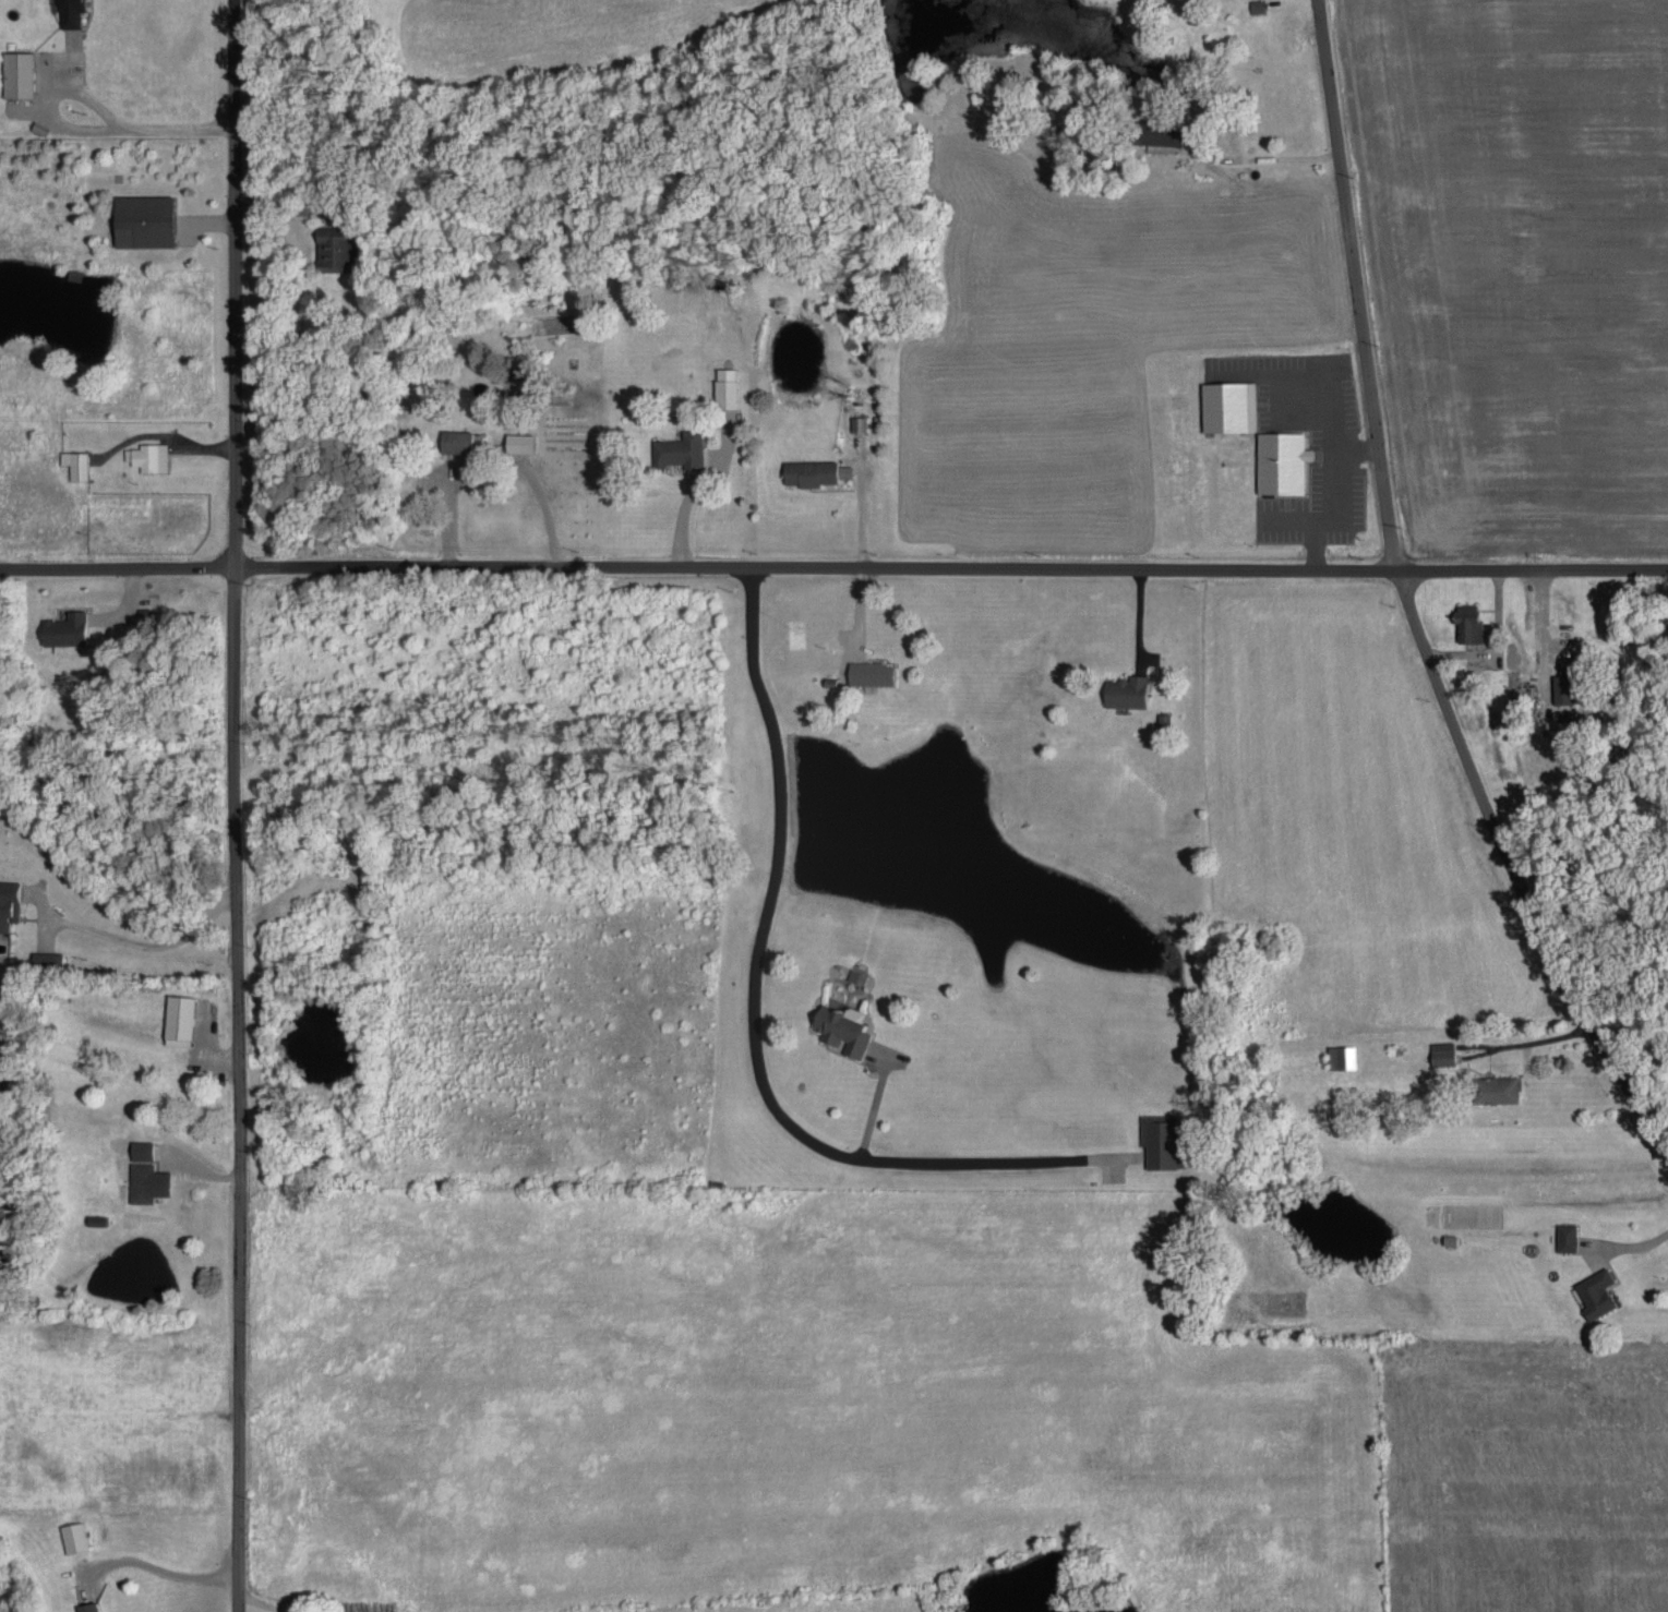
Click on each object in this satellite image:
building: (1256, 5)
building: (69, 12)
building: (16, 72)
road: (95, 103)
building: (1157, 131)
building: (142, 219)
building: (334, 246)
building: (725, 386)
building: (1227, 405)
building: (856, 422)
building: (455, 440)
building: (518, 441)
building: (679, 448)
building: (147, 455)
building: (1280, 461)
building: (74, 462)
building: (808, 471)
road: (833, 565)
road: (1408, 601)
building: (1466, 621)
building: (63, 627)
building: (869, 672)
building: (1562, 687)
building: (1125, 690)
road: (230, 806)
building: (8, 901)
road: (133, 945)
building: (46, 957)
road: (754, 969)
building: (178, 1018)
building: (842, 1025)
building: (1441, 1050)
building: (1341, 1054)
building: (1495, 1086)
building: (1161, 1139)
building: (140, 1180)
building: (1565, 1235)
building: (1595, 1290)
building: (73, 1535)
road: (155, 1566)
building: (86, 1605)

